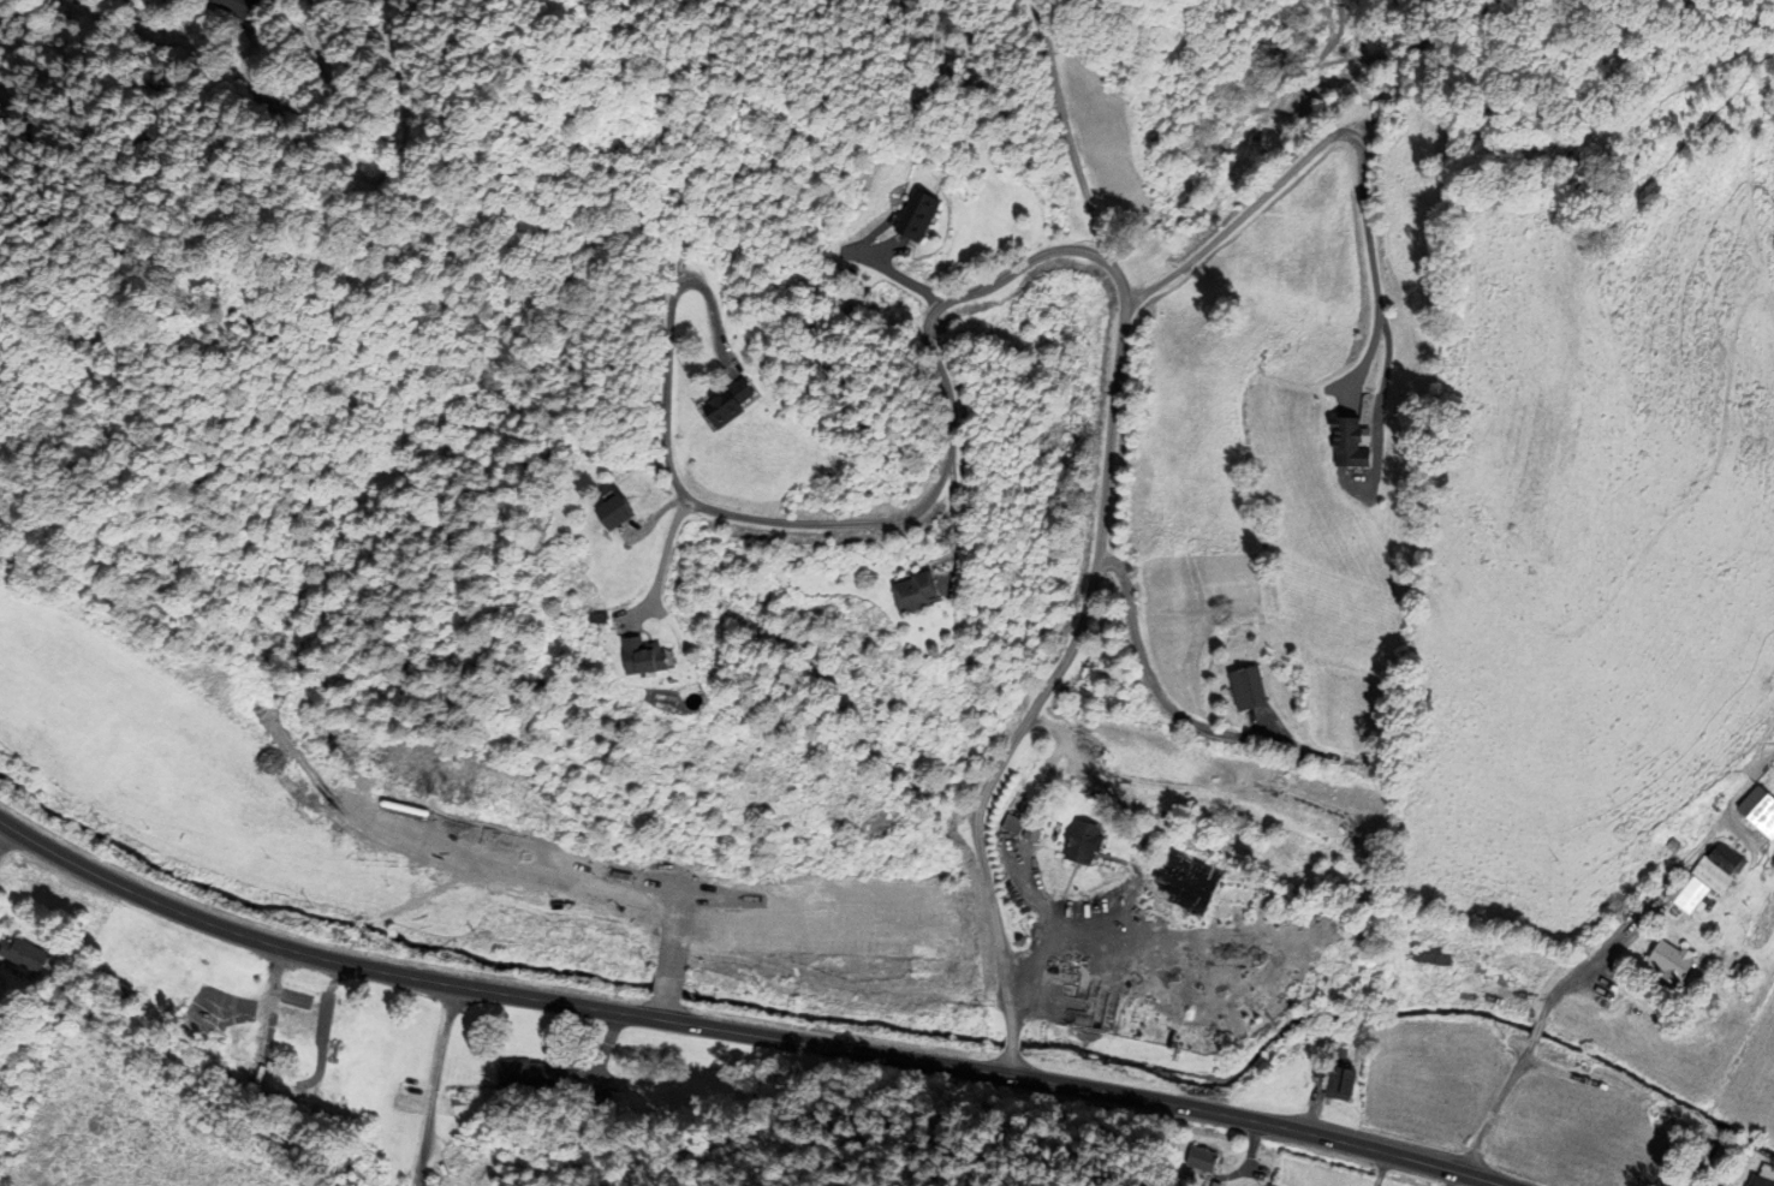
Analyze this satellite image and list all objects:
building: (233, 8)
road: (1062, 131)
road: (1361, 161)
road: (1081, 249)
road: (893, 275)
road: (715, 318)
building: (726, 403)
building: (1349, 445)
road: (668, 558)
building: (2, 571)
building: (909, 592)
building: (639, 656)
road: (1150, 681)
building: (1246, 689)
building: (1760, 809)
building: (1014, 826)
building: (1082, 844)
building: (1718, 865)
building: (1686, 890)
building: (18, 956)
building: (1433, 960)
building: (1669, 960)
road: (1571, 973)
road: (525, 996)
building: (1, 1012)
road: (1011, 1042)
road: (1522, 1056)
road: (1008, 1061)
building: (530, 1074)
building: (1340, 1083)
road: (1488, 1119)
road: (1293, 1130)
building: (1199, 1158)
building: (1256, 1169)
building: (1760, 1181)

